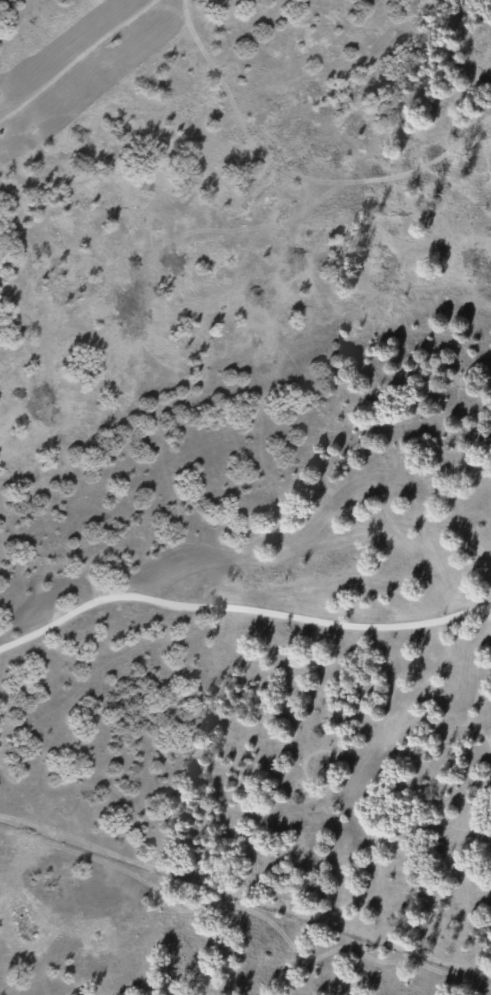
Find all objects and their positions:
road: (75, 68)

